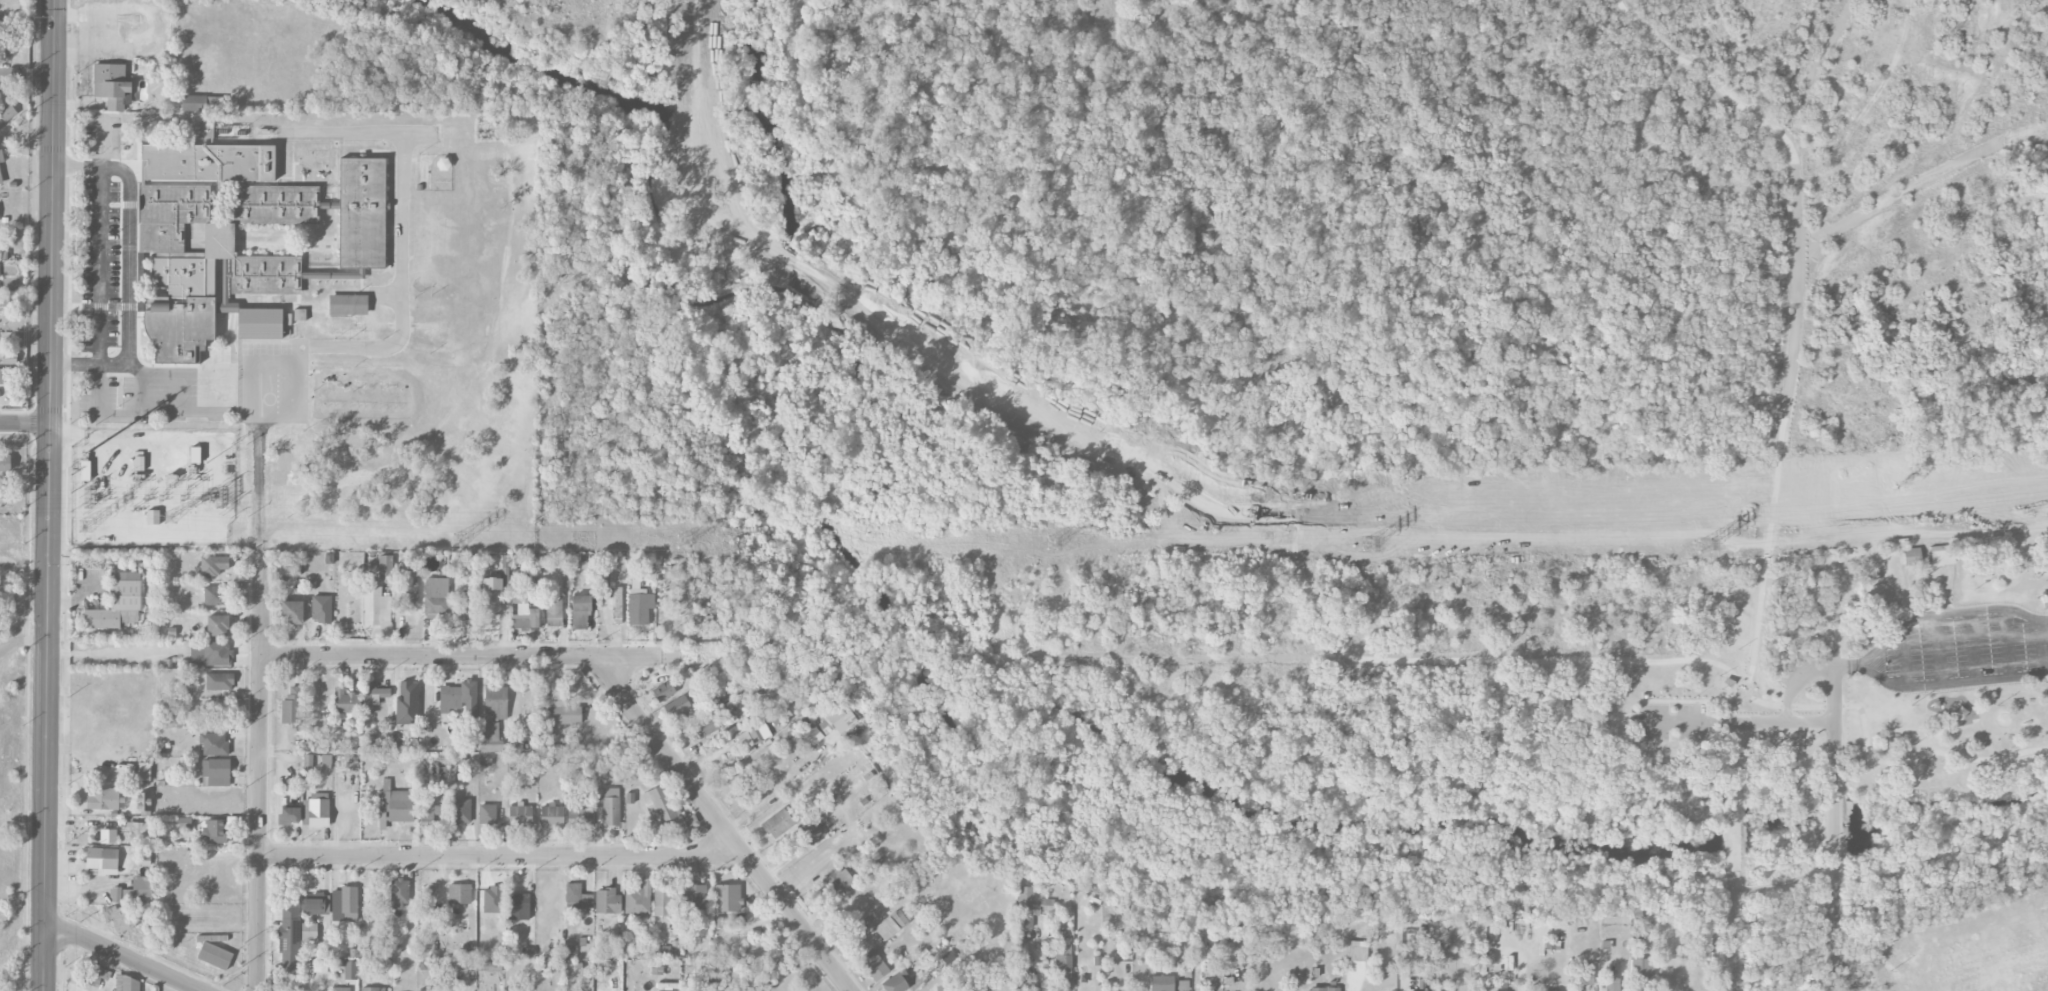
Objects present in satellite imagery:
building: (4, 36)
road: (1711, 78)
road: (26, 79)
building: (111, 85)
building: (201, 104)
building: (7, 111)
building: (206, 130)
building: (1, 156)
building: (209, 163)
road: (77, 168)
building: (0, 177)
building: (362, 213)
building: (169, 214)
road: (101, 241)
road: (130, 270)
road: (1797, 291)
building: (190, 293)
building: (348, 315)
building: (430, 340)
building: (9, 358)
road: (75, 365)
park: (1308, 372)
building: (3, 376)
road: (145, 393)
road: (204, 412)
road: (165, 413)
road: (24, 422)
building: (5, 463)
building: (86, 471)
power substation: (152, 487)
road: (48, 495)
building: (154, 517)
power tower: (171, 520)
power tower: (86, 526)
power tower: (462, 540)
power tower: (1053, 542)
power tower: (683, 545)
power tower: (1369, 545)
power tower: (1705, 547)
road: (1768, 556)
building: (1942, 556)
building: (1911, 557)
road: (1296, 565)
building: (213, 566)
building: (385, 568)
building: (603, 579)
building: (494, 590)
building: (213, 595)
building: (436, 596)
building: (2044, 599)
building: (118, 603)
building: (639, 606)
building: (376, 607)
building: (321, 609)
building: (554, 611)
building: (291, 612)
building: (580, 612)
road: (1942, 614)
building: (523, 615)
building: (217, 626)
road: (2009, 643)
road: (1974, 646)
road: (2043, 647)
road: (1939, 649)
parking lot: (1958, 649)
building: (210, 654)
road: (1905, 656)
road: (461, 657)
road: (1201, 658)
parking lot: (1804, 672)
building: (219, 681)
road: (1797, 683)
road: (1939, 684)
park: (1948, 685)
building: (663, 691)
building: (373, 696)
building: (459, 698)
building: (345, 701)
building: (496, 702)
road: (1711, 702)
road: (1992, 702)
building: (407, 704)
road: (2015, 704)
building: (292, 706)
building: (677, 707)
building: (562, 713)
road: (1835, 716)
building: (833, 719)
parking lot: (1676, 722)
road: (1735, 724)
building: (708, 725)
building: (809, 730)
road: (1982, 731)
building: (758, 732)
building: (490, 738)
building: (743, 738)
road: (1736, 743)
building: (214, 744)
road: (1736, 770)
road: (259, 771)
building: (215, 772)
road: (775, 786)
building: (103, 799)
building: (143, 803)
building: (397, 805)
building: (611, 807)
building: (660, 807)
building: (316, 810)
building: (460, 812)
building: (487, 814)
building: (429, 815)
building: (519, 815)
building: (289, 816)
building: (552, 816)
building: (579, 819)
building: (778, 823)
road: (1834, 824)
road: (724, 826)
road: (1735, 826)
building: (140, 831)
building: (214, 831)
building: (811, 831)
building: (108, 836)
road: (499, 856)
building: (100, 862)
building: (837, 881)
building: (134, 892)
building: (399, 893)
building: (459, 894)
building: (578, 896)
building: (694, 897)
building: (727, 898)
building: (638, 899)
building: (607, 901)
building: (662, 901)
building: (313, 903)
building: (344, 904)
building: (518, 906)
building: (1030, 907)
building: (119, 918)
building: (890, 925)
building: (309, 932)
road: (1734, 932)
building: (289, 939)
road: (1835, 939)
building: (1357, 951)
road: (122, 956)
building: (214, 956)
building: (1064, 962)
building: (873, 965)
building: (489, 966)
building: (1642, 968)
building: (350, 970)
building: (1585, 974)
building: (93, 975)
building: (1612, 980)
building: (1161, 983)
building: (127, 984)
building: (894, 984)
building: (1183, 986)
building: (945, 988)
building: (340, 989)
building: (373, 989)
building: (1324, 989)

